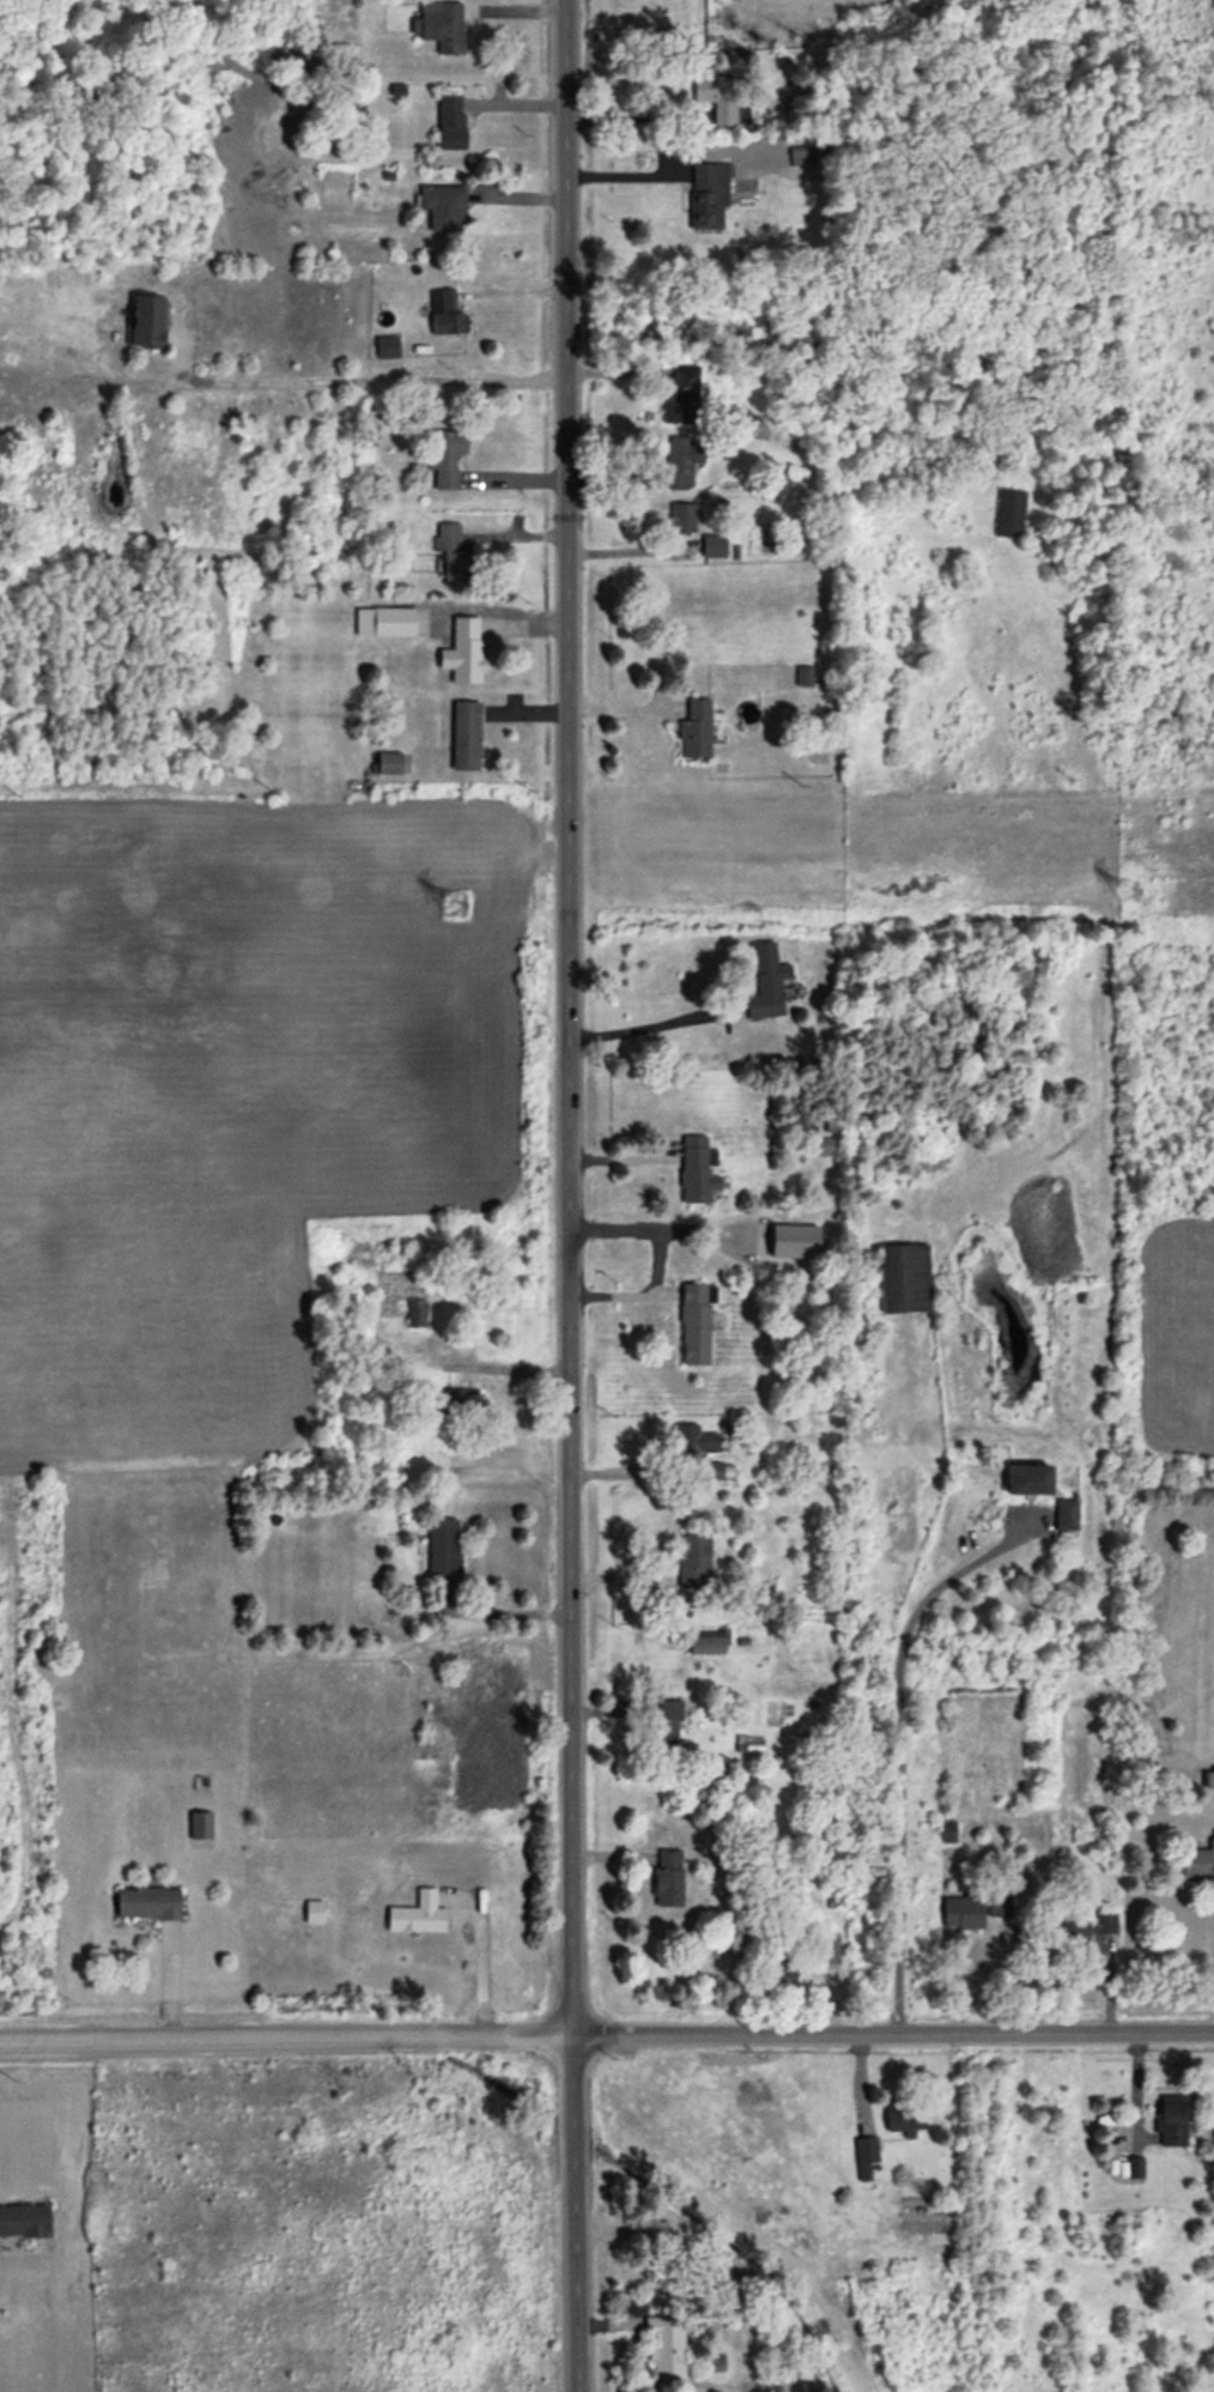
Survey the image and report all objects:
building: (442, 26)
building: (717, 97)
road: (631, 116)
building: (450, 122)
road: (629, 174)
building: (708, 198)
building: (443, 208)
building: (444, 313)
building: (146, 323)
building: (387, 347)
road: (364, 381)
building: (682, 400)
building: (447, 459)
building: (682, 461)
building: (1009, 514)
building: (681, 519)
building: (714, 546)
road: (629, 551)
building: (453, 553)
building: (384, 623)
building: (463, 652)
building: (803, 677)
building: (694, 731)
building: (466, 737)
building: (388, 763)
power tower: (1128, 890)
building: (1128, 892)
power tower: (454, 904)
building: (766, 983)
road: (638, 1027)
building: (826, 1149)
building: (696, 1171)
road: (569, 1195)
road: (650, 1225)
building: (904, 1279)
road: (641, 1292)
building: (415, 1315)
building: (694, 1325)
building: (463, 1404)
building: (696, 1443)
road: (632, 1471)
building: (711, 1472)
building: (1026, 1480)
building: (1064, 1515)
building: (443, 1549)
building: (693, 1563)
road: (502, 1612)
building: (706, 1646)
building: (667, 1724)
road: (899, 1744)
building: (200, 1825)
building: (949, 1831)
building: (1197, 1865)
building: (667, 1879)
building: (146, 1903)
building: (1000, 1907)
building: (314, 1913)
building: (961, 1913)
building: (417, 1915)
building: (1103, 1924)
building: (1073, 1936)
road: (478, 1942)
building: (827, 1951)
building: (777, 1968)
road: (892, 2035)
road: (285, 2039)
building: (904, 2119)
building: (1172, 2121)
building: (866, 2158)
building: (1135, 2168)
building: (23, 2221)
building: (656, 2239)
building: (658, 2348)

